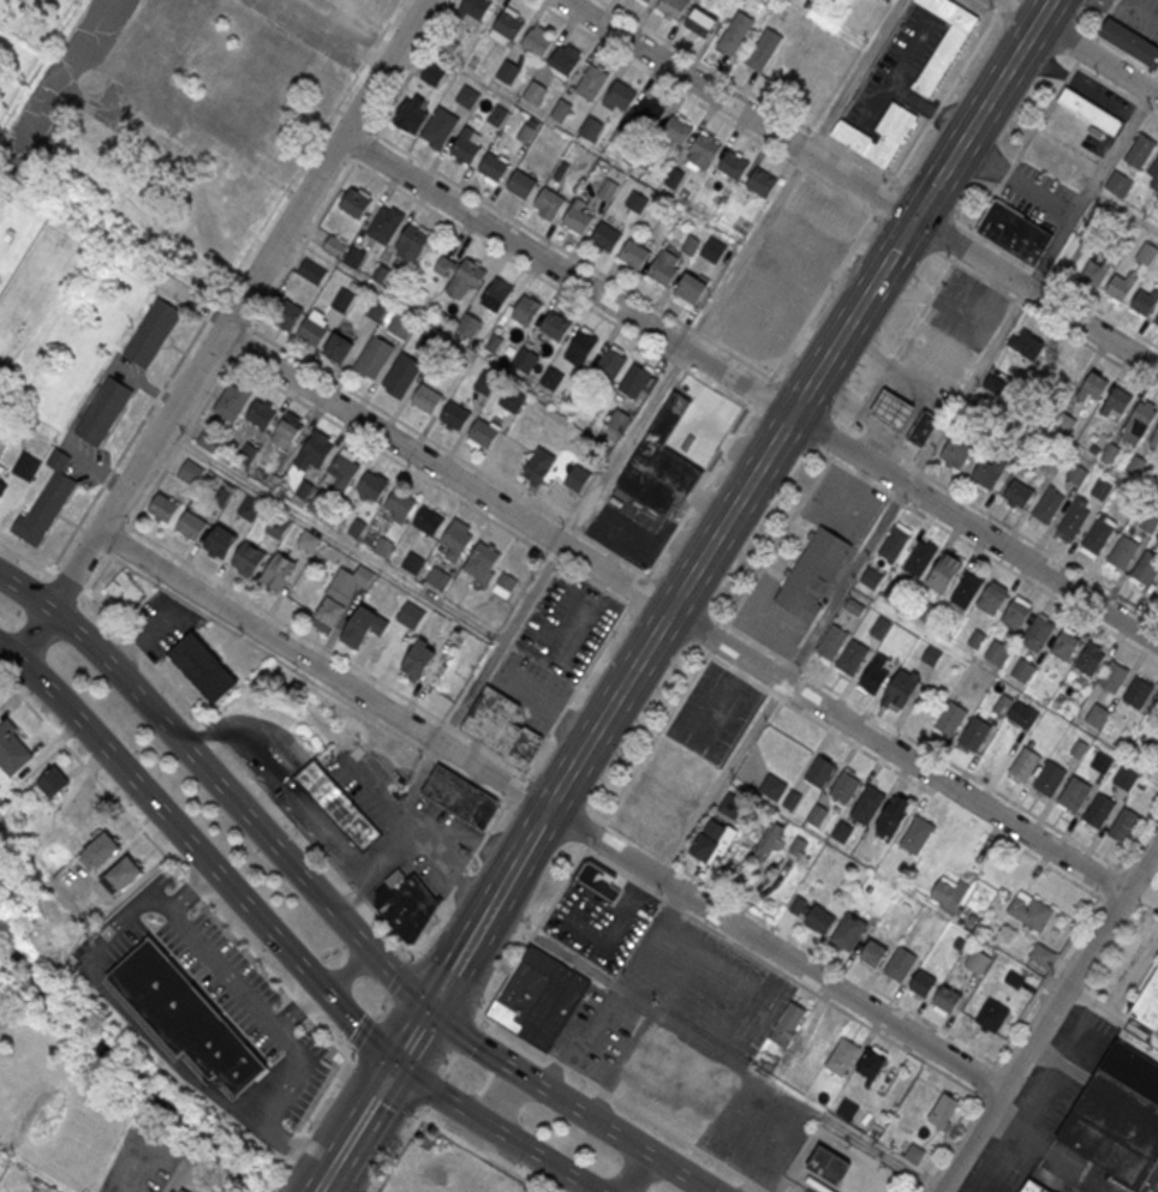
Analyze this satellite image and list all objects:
building: (647, 0)
building: (888, 0)
road: (1002, 4)
road: (986, 6)
building: (476, 7)
building: (673, 7)
road: (1136, 11)
parking lot: (1139, 17)
road: (1104, 18)
building: (700, 22)
building: (508, 23)
building: (736, 31)
building: (944, 41)
building: (1130, 41)
building: (537, 42)
road: (1086, 48)
building: (763, 49)
road: (1082, 49)
road: (1127, 53)
building: (566, 58)
road: (412, 67)
parking lot: (899, 70)
building: (508, 71)
building: (432, 73)
building: (592, 83)
road: (1116, 90)
building: (535, 91)
road: (751, 92)
building: (622, 95)
building: (467, 96)
road: (944, 96)
road: (340, 108)
road: (710, 108)
building: (1090, 109)
building: (412, 113)
building: (650, 114)
road: (356, 118)
building: (440, 127)
building: (591, 127)
building: (678, 131)
road: (1123, 133)
building: (852, 134)
road: (364, 145)
road: (1023, 145)
building: (465, 149)
building: (1140, 149)
road: (342, 151)
building: (704, 151)
building: (734, 164)
building: (493, 166)
building: (1154, 173)
building: (521, 182)
building: (1118, 182)
building: (764, 184)
road: (858, 185)
building: (608, 190)
road: (882, 194)
parking lot: (1037, 194)
building: (550, 202)
road: (927, 202)
building: (354, 203)
road: (1080, 203)
building: (577, 217)
traffic signals: (913, 220)
building: (387, 224)
building: (1014, 232)
road: (911, 233)
building: (607, 235)
building: (412, 241)
road: (303, 244)
road: (963, 244)
building: (334, 246)
building: (712, 250)
road: (569, 252)
building: (633, 252)
building: (1146, 252)
building: (354, 257)
building: (1096, 269)
building: (663, 270)
building: (312, 271)
building: (465, 280)
road: (549, 281)
road: (1056, 281)
road: (226, 283)
building: (1121, 284)
building: (691, 287)
road: (823, 294)
building: (497, 295)
building: (342, 300)
building: (1145, 300)
road: (238, 304)
parking lot: (968, 306)
building: (527, 310)
building: (375, 311)
building: (287, 315)
road: (1047, 317)
road: (239, 318)
building: (1156, 318)
building: (468, 325)
building: (555, 325)
building: (401, 327)
building: (151, 331)
building: (311, 333)
road: (243, 341)
road: (902, 342)
building: (1027, 343)
building: (581, 346)
building: (938, 347)
road: (220, 348)
building: (339, 348)
building: (374, 355)
building: (526, 358)
building: (610, 364)
building: (402, 373)
building: (551, 378)
building: (635, 381)
building: (996, 381)
building: (485, 382)
road: (750, 387)
road: (918, 389)
road: (760, 393)
building: (426, 397)
building: (512, 399)
building: (232, 400)
building: (1116, 405)
building: (103, 409)
building: (894, 411)
building: (262, 414)
building: (455, 414)
building: (1140, 418)
building: (1064, 424)
building: (924, 429)
building: (482, 431)
building: (287, 432)
building: (1154, 437)
road: (181, 441)
road: (840, 442)
road: (446, 448)
road: (769, 450)
building: (315, 451)
building: (956, 454)
road: (616, 462)
building: (662, 465)
building: (26, 466)
building: (538, 466)
building: (1, 468)
building: (345, 468)
building: (191, 471)
building: (1078, 473)
building: (986, 474)
road: (428, 478)
building: (577, 478)
building: (372, 486)
building: (2, 487)
building: (1102, 487)
road: (903, 490)
road: (699, 491)
building: (1017, 495)
building: (47, 501)
building: (401, 503)
parking lot: (843, 504)
building: (1047, 504)
building: (165, 508)
building: (249, 508)
road: (117, 515)
building: (1073, 519)
road: (1003, 521)
building: (1148, 521)
building: (429, 522)
building: (192, 526)
building: (277, 526)
building: (1098, 534)
road: (120, 539)
building: (458, 539)
road: (777, 540)
building: (221, 541)
building: (894, 541)
building: (1123, 551)
road: (28, 556)
building: (251, 556)
building: (485, 557)
road: (993, 557)
building: (920, 558)
building: (413, 562)
building: (1146, 565)
building: (279, 570)
road: (101, 571)
building: (943, 571)
building: (813, 573)
building: (437, 577)
building: (871, 577)
road: (68, 580)
building: (505, 583)
building: (124, 588)
building: (967, 588)
road: (638, 589)
building: (342, 592)
building: (1157, 593)
building: (990, 598)
road: (674, 610)
building: (1015, 613)
building: (411, 615)
parking lot: (770, 617)
building: (881, 627)
building: (360, 628)
building: (1038, 631)
road: (31, 633)
road: (716, 637)
building: (975, 637)
building: (832, 641)
road: (324, 645)
building: (1064, 645)
building: (997, 651)
road: (144, 654)
building: (931, 654)
building: (853, 655)
building: (1090, 658)
building: (420, 661)
road: (551, 663)
building: (201, 665)
building: (1023, 669)
road: (739, 672)
building: (873, 672)
building: (1114, 673)
road: (309, 678)
building: (901, 687)
road: (575, 688)
building: (1138, 690)
road: (775, 695)
building: (1015, 711)
parking lot: (715, 712)
building: (1097, 714)
building: (950, 717)
building: (501, 725)
road: (214, 732)
building: (974, 733)
road: (655, 736)
road: (924, 745)
building: (1078, 748)
building: (12, 749)
road: (191, 753)
building: (1102, 761)
building: (1156, 761)
building: (1026, 766)
building: (820, 769)
building: (1050, 777)
building: (1124, 777)
road: (721, 779)
building: (53, 781)
building: (844, 785)
road: (515, 786)
building: (772, 786)
building: (1074, 792)
building: (460, 796)
road: (939, 797)
building: (868, 802)
building: (339, 803)
building: (730, 804)
building: (1099, 809)
road: (549, 811)
road: (165, 813)
building: (893, 816)
building: (1124, 822)
building: (842, 832)
building: (917, 833)
road: (595, 835)
road: (1136, 835)
road: (634, 839)
building: (766, 839)
building: (712, 841)
road: (321, 849)
building: (100, 851)
road: (670, 861)
road: (178, 868)
building: (123, 874)
road: (458, 879)
building: (598, 880)
road: (1108, 881)
road: (1145, 887)
road: (192, 888)
building: (950, 891)
building: (405, 903)
building: (1029, 910)
building: (811, 915)
road: (769, 922)
road: (533, 930)
building: (849, 930)
road: (105, 936)
building: (873, 951)
building: (1041, 954)
road: (460, 956)
building: (977, 959)
building: (900, 963)
road: (344, 968)
road: (789, 975)
road: (398, 976)
road: (395, 980)
building: (923, 982)
road: (447, 983)
road: (1038, 989)
road: (1120, 992)
building: (538, 995)
building: (947, 998)
building: (1147, 1002)
road: (380, 1005)
road: (299, 1008)
traffic signals: (429, 1008)
building: (992, 1014)
road: (1047, 1014)
building: (187, 1016)
road: (478, 1019)
building: (788, 1024)
road: (356, 1028)
road: (362, 1031)
road: (412, 1035)
road: (467, 1036)
road: (467, 1042)
building: (842, 1055)
traffic signals: (396, 1062)
road: (452, 1064)
building: (872, 1064)
river: (121, 1068)
road: (383, 1086)
road: (328, 1088)
road: (434, 1090)
road: (435, 1094)
road: (1053, 1094)
road: (495, 1096)
road: (623, 1101)
building: (943, 1109)
building: (848, 1110)
building: (1118, 1115)
road: (363, 1116)
road: (1010, 1118)
road: (611, 1132)
road: (294, 1140)
road: (945, 1140)
road: (396, 1148)
road: (478, 1152)
building: (914, 1155)
road: (536, 1156)
building: (828, 1166)
road: (275, 1173)
road: (634, 1173)
road: (1073, 1174)
road: (180, 1178)
road: (323, 1182)
river: (261, 1185)
building: (1033, 1186)
building: (183, 1191)

